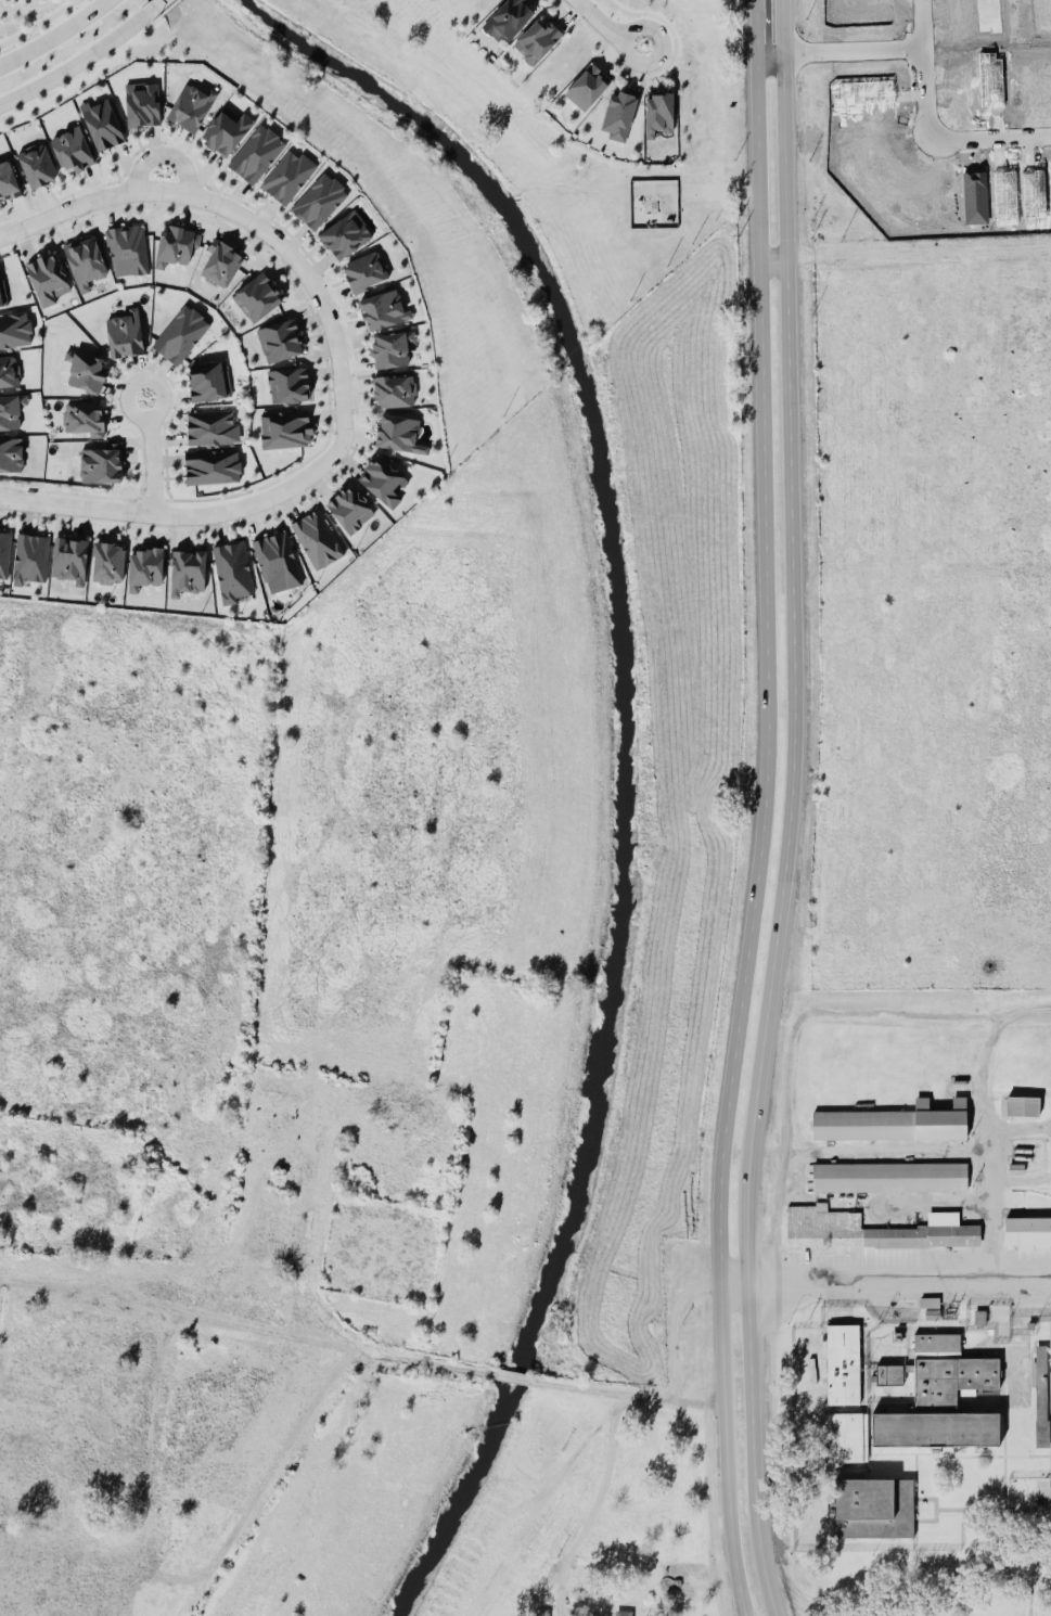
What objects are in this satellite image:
road: (13, 1)
road: (154, 7)
road: (162, 11)
building: (508, 18)
road: (37, 23)
road: (919, 23)
road: (606, 26)
road: (53, 35)
building: (536, 39)
road: (837, 50)
road: (76, 63)
road: (652, 73)
road: (79, 79)
building: (587, 86)
building: (138, 99)
building: (185, 104)
building: (658, 112)
building: (618, 113)
building: (99, 119)
building: (218, 126)
road: (150, 139)
road: (943, 141)
building: (68, 143)
road: (179, 144)
building: (253, 152)
road: (164, 154)
road: (126, 158)
building: (33, 163)
road: (201, 166)
building: (283, 172)
building: (4, 178)
road: (91, 179)
road: (234, 192)
building: (313, 196)
road: (40, 200)
road: (18, 206)
road: (265, 211)
road: (111, 214)
road: (185, 215)
road: (245, 218)
road: (229, 229)
road: (62, 230)
building: (342, 230)
road: (294, 235)
road: (22, 244)
road: (7, 245)
road: (920, 245)
building: (171, 249)
road: (773, 254)
building: (123, 255)
road: (319, 261)
building: (214, 262)
building: (84, 266)
building: (360, 267)
road: (279, 268)
building: (42, 279)
road: (332, 291)
road: (303, 292)
building: (256, 297)
building: (1, 305)
building: (379, 307)
road: (308, 322)
building: (119, 325)
road: (347, 326)
building: (12, 331)
building: (177, 332)
building: (273, 343)
road: (351, 343)
building: (386, 348)
road: (355, 361)
building: (84, 363)
road: (127, 364)
road: (140, 367)
road: (161, 368)
building: (7, 374)
road: (334, 374)
building: (204, 377)
road: (315, 377)
road: (113, 385)
building: (282, 386)
road: (356, 387)
building: (392, 387)
road: (165, 395)
road: (176, 396)
road: (126, 397)
building: (79, 413)
building: (9, 415)
road: (131, 418)
road: (323, 418)
road: (114, 422)
building: (209, 422)
building: (278, 426)
building: (394, 429)
road: (356, 431)
road: (168, 435)
building: (11, 457)
road: (132, 457)
road: (158, 457)
road: (172, 457)
road: (165, 459)
building: (93, 460)
building: (208, 460)
road: (141, 461)
road: (355, 461)
road: (153, 464)
road: (321, 479)
building: (380, 479)
road: (68, 488)
road: (152, 495)
road: (289, 502)
building: (345, 508)
road: (24, 515)
road: (181, 515)
road: (65, 520)
road: (247, 520)
road: (103, 524)
road: (149, 527)
road: (212, 527)
road: (179, 529)
building: (315, 537)
building: (2, 554)
building: (27, 555)
building: (63, 556)
building: (274, 557)
building: (101, 561)
building: (142, 564)
building: (183, 568)
building: (231, 569)
river: (628, 752)
road: (767, 810)
road: (791, 810)
road: (909, 1009)
building: (1022, 1104)
building: (892, 1120)
road: (989, 1145)
building: (888, 1175)
building: (872, 1229)
building: (1027, 1231)
road: (900, 1282)
road: (734, 1286)
building: (930, 1306)
building: (978, 1316)
road: (672, 1322)
road: (246, 1328)
building: (842, 1363)
building: (889, 1372)
road: (511, 1375)
road: (625, 1394)
building: (1040, 1394)
building: (941, 1397)
building: (846, 1436)
road: (146, 1467)
road: (264, 1472)
building: (872, 1505)
road: (601, 1506)
road: (1008, 1561)
road: (953, 1574)
building: (621, 1612)

